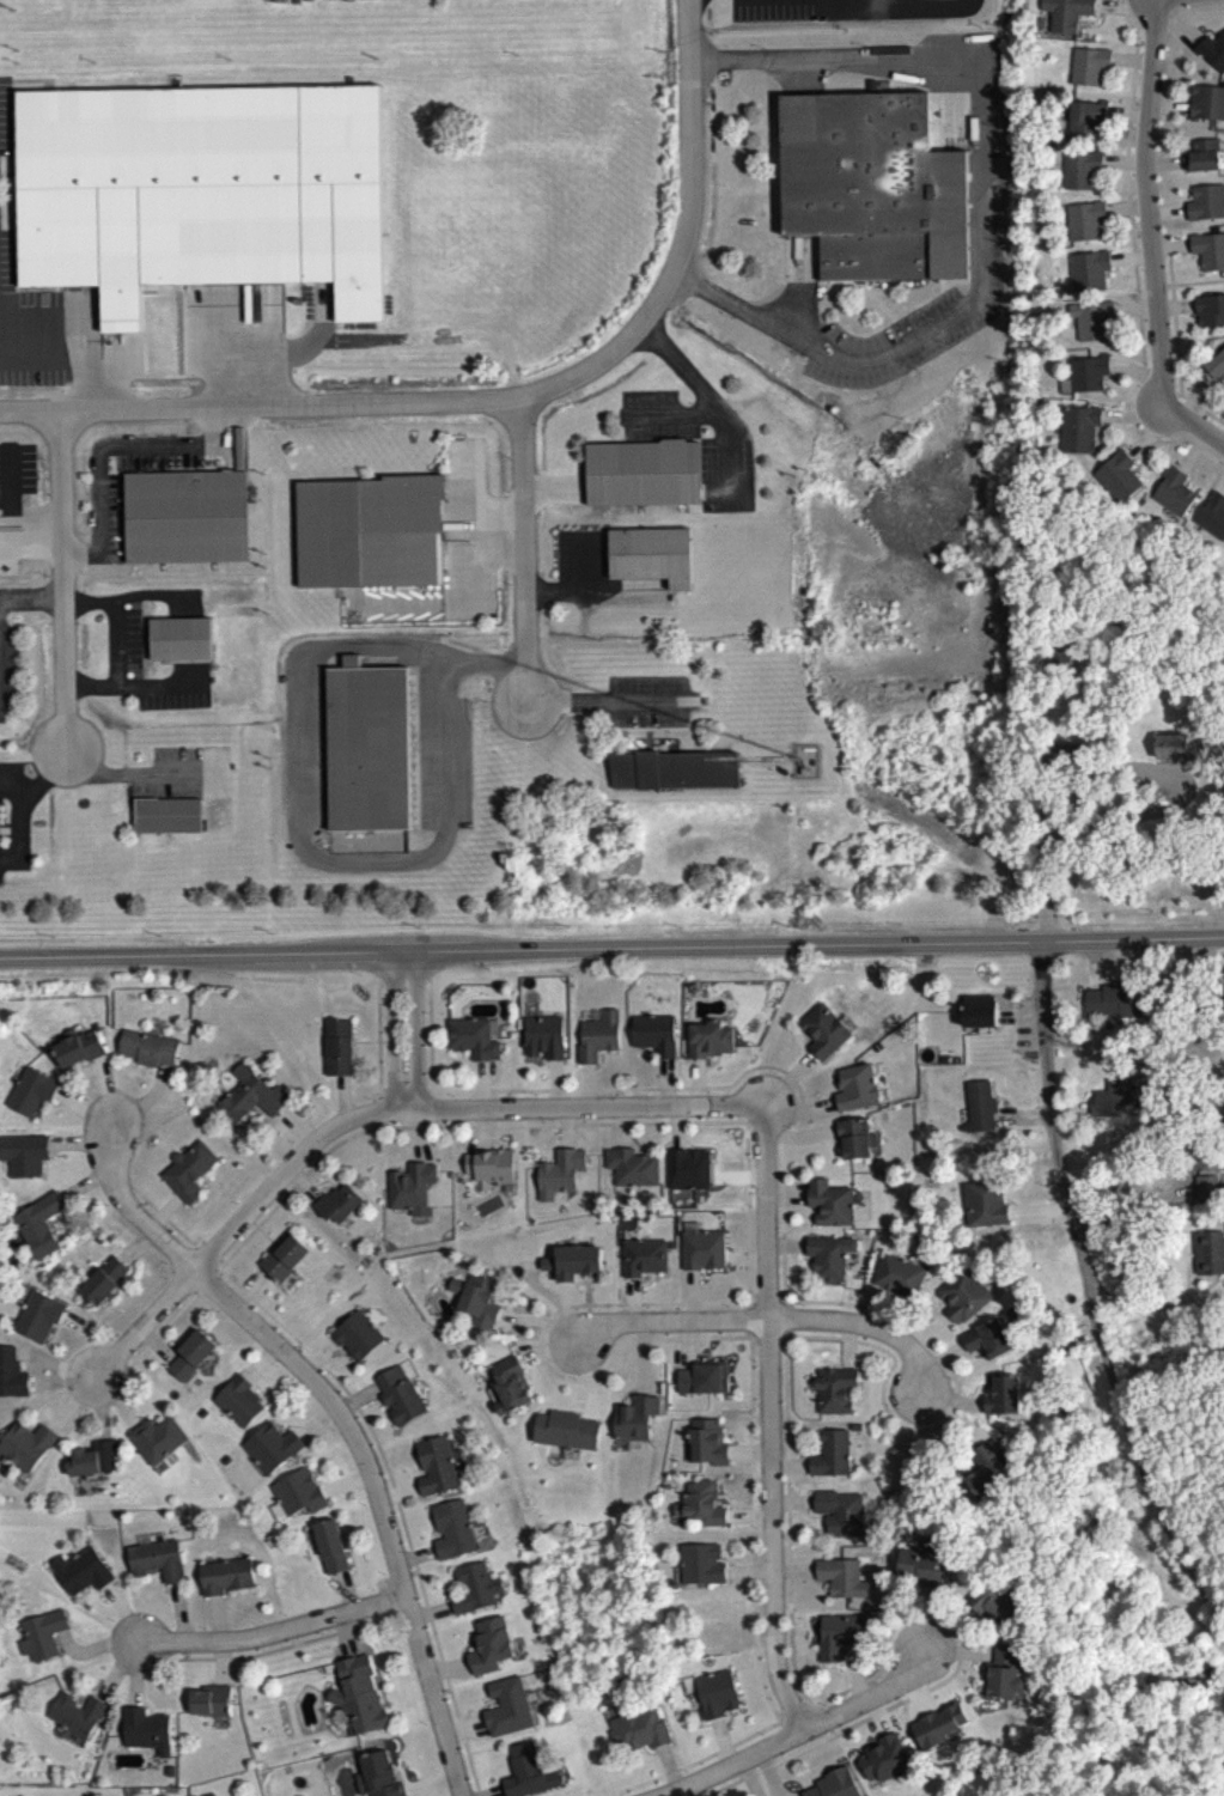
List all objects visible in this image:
road: (1164, 7)
building: (1065, 16)
road: (1171, 17)
building: (1212, 57)
building: (1086, 71)
building: (1206, 108)
building: (1085, 122)
road: (1159, 151)
building: (1202, 160)
road: (694, 162)
building: (1079, 175)
building: (203, 189)
building: (872, 193)
road: (981, 199)
building: (1206, 207)
building: (1084, 226)
road: (1152, 241)
building: (1207, 256)
road: (1132, 269)
building: (1088, 276)
road: (1196, 287)
building: (1208, 316)
building: (1092, 325)
road: (41, 357)
building: (1214, 369)
building: (1084, 379)
road: (1177, 395)
road: (711, 401)
road: (341, 403)
building: (1078, 434)
road: (105, 443)
building: (640, 479)
building: (1118, 481)
building: (1173, 498)
building: (188, 515)
building: (1212, 520)
building: (372, 529)
road: (525, 553)
building: (648, 560)
road: (63, 578)
road: (579, 590)
road: (32, 596)
road: (115, 641)
parking lot: (13, 644)
building: (178, 644)
road: (598, 705)
building: (370, 744)
building: (1173, 751)
building: (1055, 759)
road: (1119, 768)
building: (672, 775)
road: (300, 798)
road: (25, 805)
building: (165, 821)
road: (877, 950)
road: (452, 956)
road: (505, 956)
road: (400, 957)
road: (273, 958)
road: (354, 958)
road: (106, 961)
road: (401, 988)
building: (1115, 998)
building: (980, 1009)
road: (413, 1036)
road: (389, 1037)
building: (822, 1037)
building: (652, 1040)
building: (597, 1042)
building: (470, 1043)
building: (542, 1043)
building: (80, 1045)
building: (708, 1046)
road: (376, 1047)
road: (351, 1048)
building: (336, 1053)
building: (146, 1054)
road: (352, 1054)
building: (32, 1090)
building: (854, 1094)
road: (380, 1095)
road: (403, 1095)
road: (426, 1096)
building: (1114, 1096)
building: (250, 1102)
road: (341, 1103)
building: (982, 1103)
road: (370, 1104)
road: (371, 1116)
road: (371, 1118)
road: (745, 1130)
road: (755, 1130)
road: (371, 1132)
road: (675, 1132)
building: (854, 1144)
road: (743, 1147)
road: (683, 1150)
building: (25, 1151)
building: (629, 1173)
building: (488, 1174)
building: (686, 1175)
building: (188, 1176)
road: (712, 1176)
building: (558, 1179)
road: (736, 1183)
building: (1206, 1185)
building: (409, 1194)
building: (340, 1201)
building: (987, 1201)
road: (1134, 1203)
building: (829, 1209)
building: (42, 1222)
road: (164, 1225)
road: (1076, 1243)
building: (704, 1247)
building: (1210, 1250)
building: (646, 1254)
building: (287, 1255)
road: (209, 1256)
building: (577, 1259)
building: (828, 1262)
road: (219, 1267)
building: (106, 1277)
road: (218, 1280)
building: (899, 1283)
road: (206, 1290)
building: (479, 1297)
road: (750, 1302)
road: (765, 1302)
road: (779, 1302)
building: (961, 1303)
road: (787, 1309)
road: (744, 1310)
building: (42, 1314)
road: (768, 1323)
road: (744, 1325)
road: (787, 1325)
building: (359, 1333)
road: (158, 1337)
road: (744, 1340)
road: (787, 1340)
building: (987, 1346)
road: (750, 1348)
road: (766, 1348)
road: (780, 1348)
building: (193, 1352)
building: (13, 1371)
building: (704, 1377)
building: (511, 1383)
building: (838, 1387)
building: (401, 1393)
building: (242, 1399)
building: (1001, 1402)
road: (879, 1405)
building: (638, 1416)
road: (340, 1421)
road: (767, 1425)
building: (568, 1427)
building: (160, 1436)
building: (708, 1441)
building: (30, 1442)
building: (273, 1444)
building: (833, 1451)
building: (97, 1455)
building: (439, 1463)
building: (992, 1475)
building: (300, 1491)
building: (705, 1500)
building: (841, 1509)
road: (1192, 1511)
building: (453, 1526)
building: (333, 1544)
building: (159, 1555)
building: (704, 1561)
building: (922, 1563)
building: (84, 1569)
building: (230, 1573)
building: (845, 1575)
road: (410, 1579)
road: (396, 1583)
building: (476, 1585)
road: (377, 1588)
building: (997, 1600)
road: (382, 1608)
building: (842, 1632)
building: (43, 1633)
road: (270, 1637)
building: (492, 1643)
road: (284, 1652)
building: (999, 1687)
building: (718, 1692)
building: (361, 1693)
building: (212, 1698)
building: (510, 1704)
road: (802, 1709)
building: (79, 1712)
road: (817, 1712)
road: (790, 1715)
road: (777, 1721)
road: (823, 1725)
building: (147, 1727)
building: (639, 1728)
building: (937, 1730)
road: (804, 1734)
road: (828, 1739)
building: (882, 1762)
building: (529, 1770)
building: (383, 1773)
building: (835, 1786)

